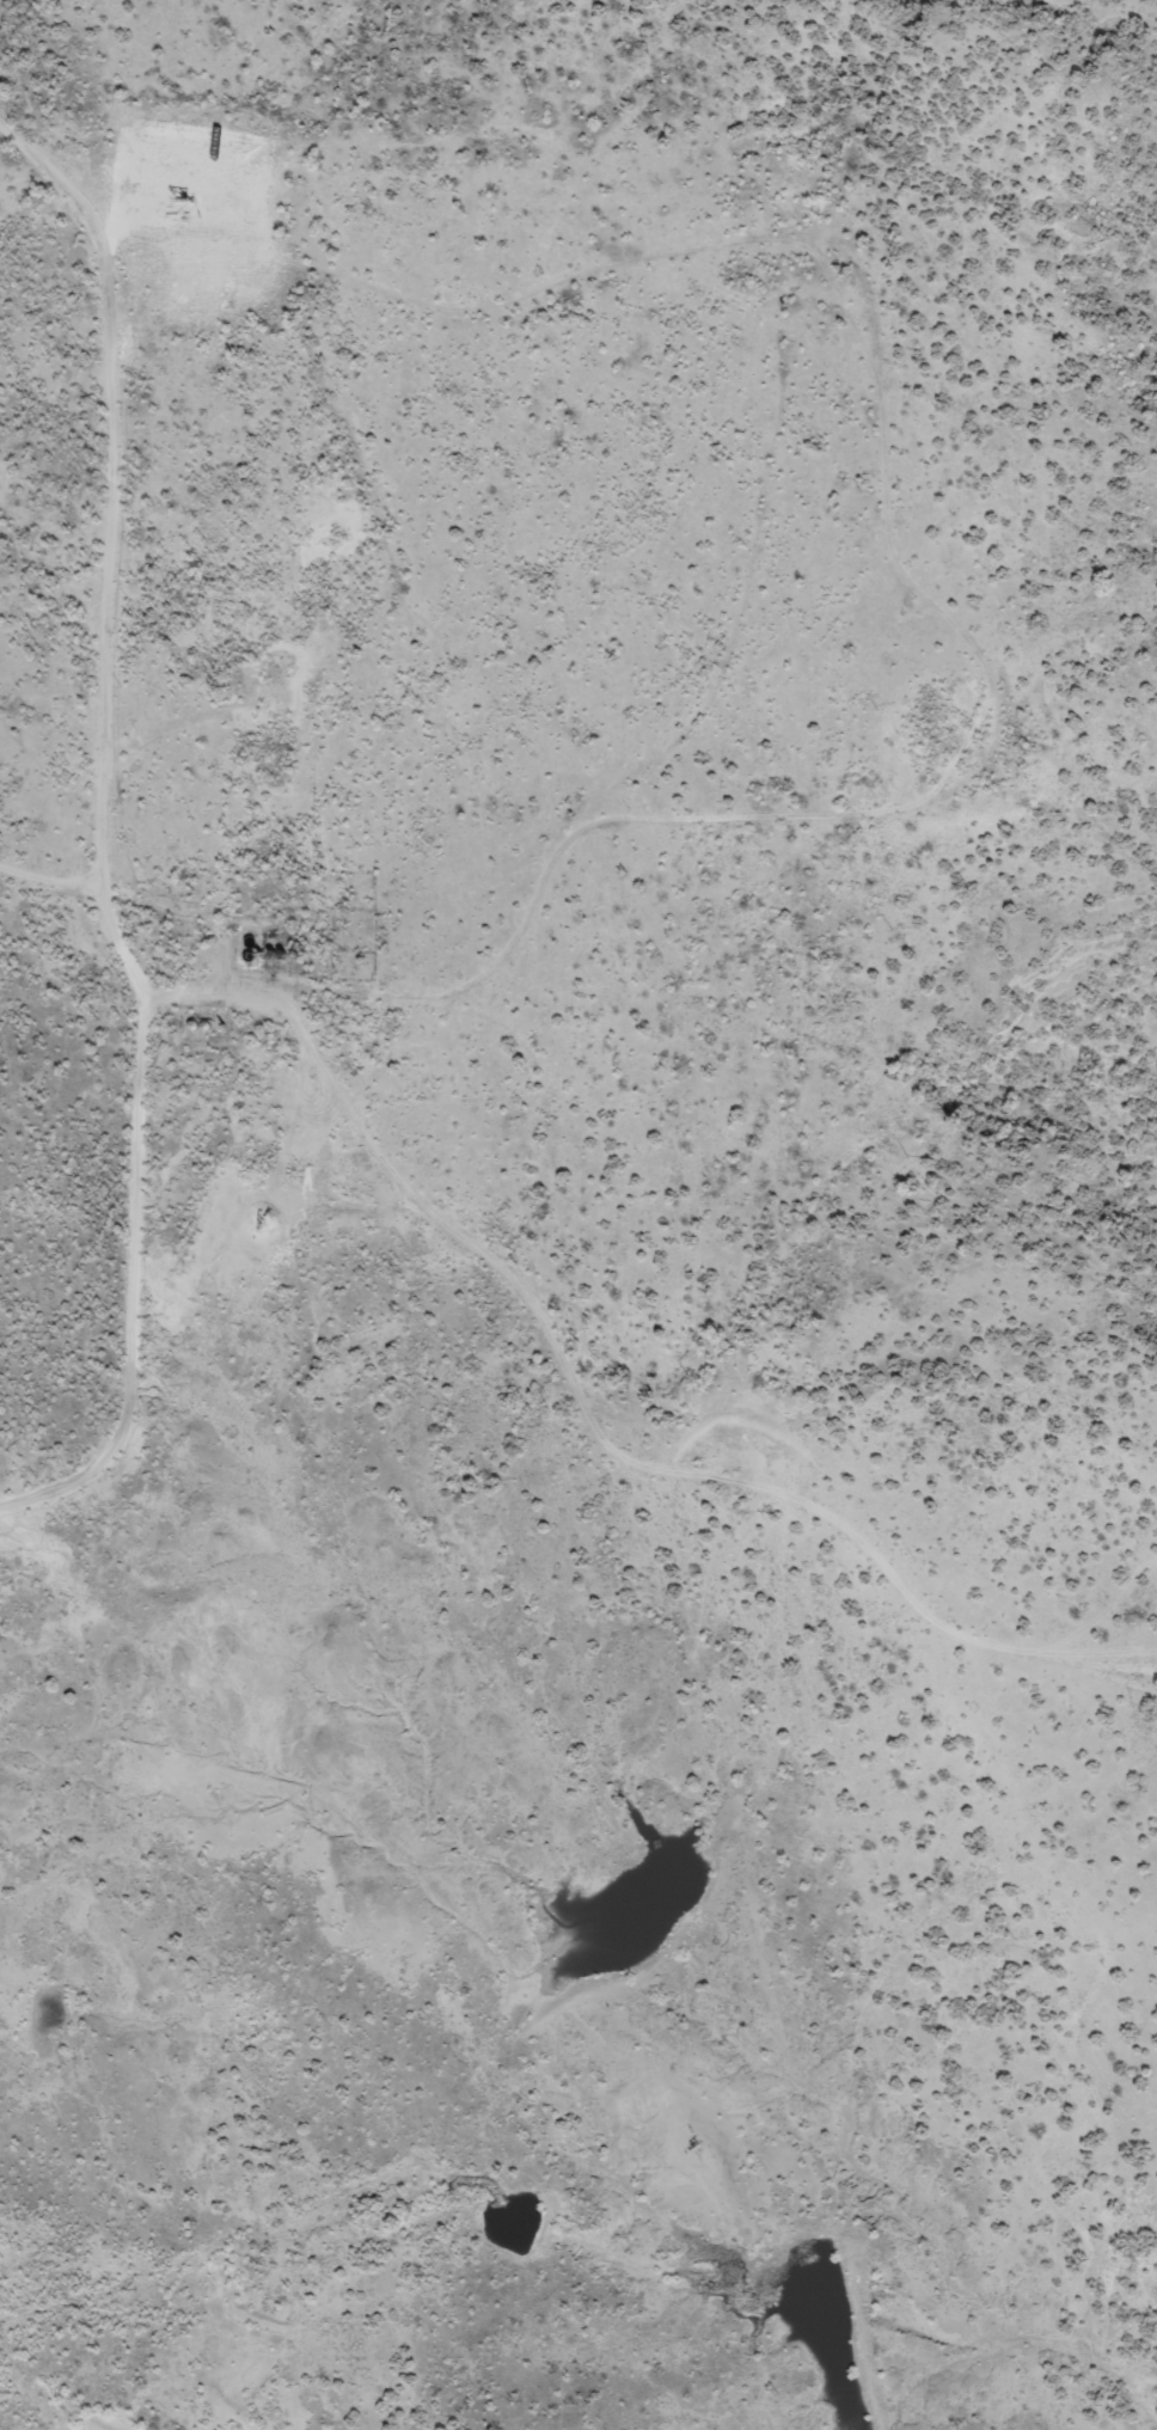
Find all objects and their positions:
road: (802, 535)
road: (68, 732)
road: (800, 833)
road: (152, 859)
road: (690, 1438)
road: (604, 1979)

